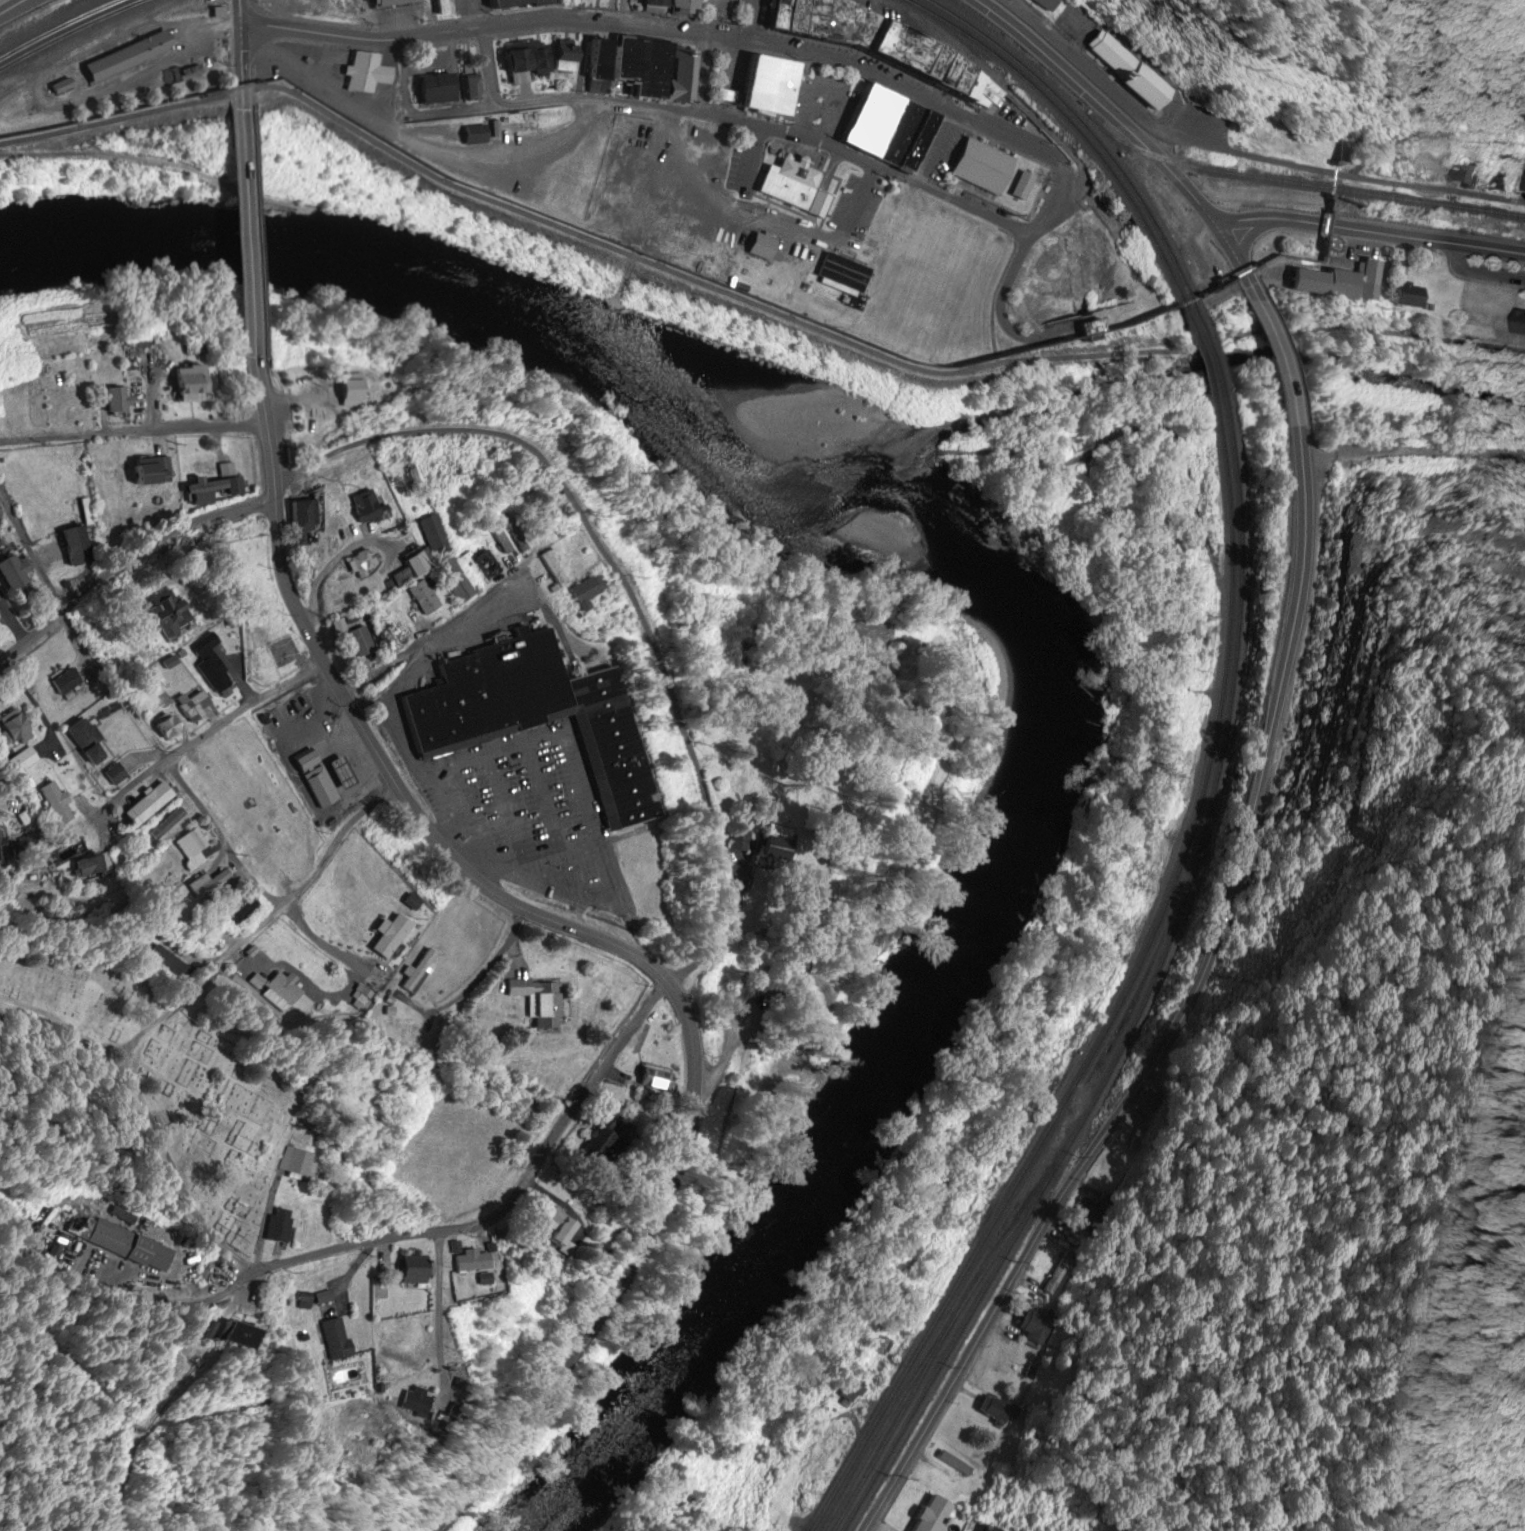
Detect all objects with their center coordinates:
building: (386, 1)
building: (512, 3)
building: (648, 3)
building: (438, 6)
road: (14, 7)
building: (678, 8)
railway: (61, 28)
railway: (71, 31)
road: (693, 33)
building: (886, 49)
road: (245, 55)
building: (561, 56)
building: (123, 57)
building: (641, 68)
building: (1125, 70)
building: (364, 73)
road: (704, 73)
building: (57, 86)
building: (469, 88)
building: (432, 89)
building: (758, 89)
road: (750, 123)
building: (883, 130)
building: (470, 136)
road: (1144, 146)
building: (978, 166)
building: (1462, 178)
railway: (1273, 180)
building: (1522, 184)
building: (789, 186)
road: (1374, 233)
road: (257, 237)
building: (841, 273)
road: (1479, 275)
building: (1403, 296)
building: (1516, 323)
road: (1283, 376)
building: (192, 385)
building: (112, 401)
road: (136, 430)
railway: (1233, 444)
building: (146, 473)
building: (212, 486)
building: (362, 508)
building: (556, 511)
building: (302, 519)
building: (433, 535)
building: (70, 544)
road: (28, 557)
road: (335, 562)
building: (361, 563)
building: (412, 564)
building: (485, 566)
building: (549, 567)
road: (132, 569)
building: (9, 574)
building: (452, 581)
road: (615, 587)
building: (583, 592)
river: (997, 597)
building: (420, 598)
building: (167, 616)
building: (1186, 633)
road: (414, 634)
road: (415, 636)
building: (387, 638)
building: (359, 641)
building: (202, 645)
building: (65, 681)
building: (188, 707)
building: (526, 712)
building: (162, 729)
building: (11, 730)
road: (207, 736)
building: (81, 740)
railway: (1217, 751)
building: (17, 765)
building: (111, 775)
building: (312, 780)
building: (55, 803)
building: (144, 805)
building: (164, 825)
building: (739, 841)
building: (188, 844)
building: (3, 846)
building: (95, 866)
building: (211, 884)
road: (275, 902)
building: (235, 913)
building: (384, 936)
road: (603, 938)
building: (166, 962)
road: (484, 965)
building: (415, 971)
building: (283, 990)
building: (359, 995)
building: (535, 1002)
road: (1197, 1023)
road: (1065, 1078)
building: (647, 1081)
building: (290, 1163)
road: (266, 1201)
building: (545, 1226)
building: (272, 1227)
road: (370, 1242)
building: (117, 1243)
building: (467, 1263)
building: (407, 1271)
building: (1060, 1281)
building: (320, 1299)
road: (439, 1312)
building: (224, 1335)
building: (331, 1339)
building: (391, 1357)
building: (848, 1390)
building: (400, 1401)
building: (989, 1408)
building: (928, 1516)

